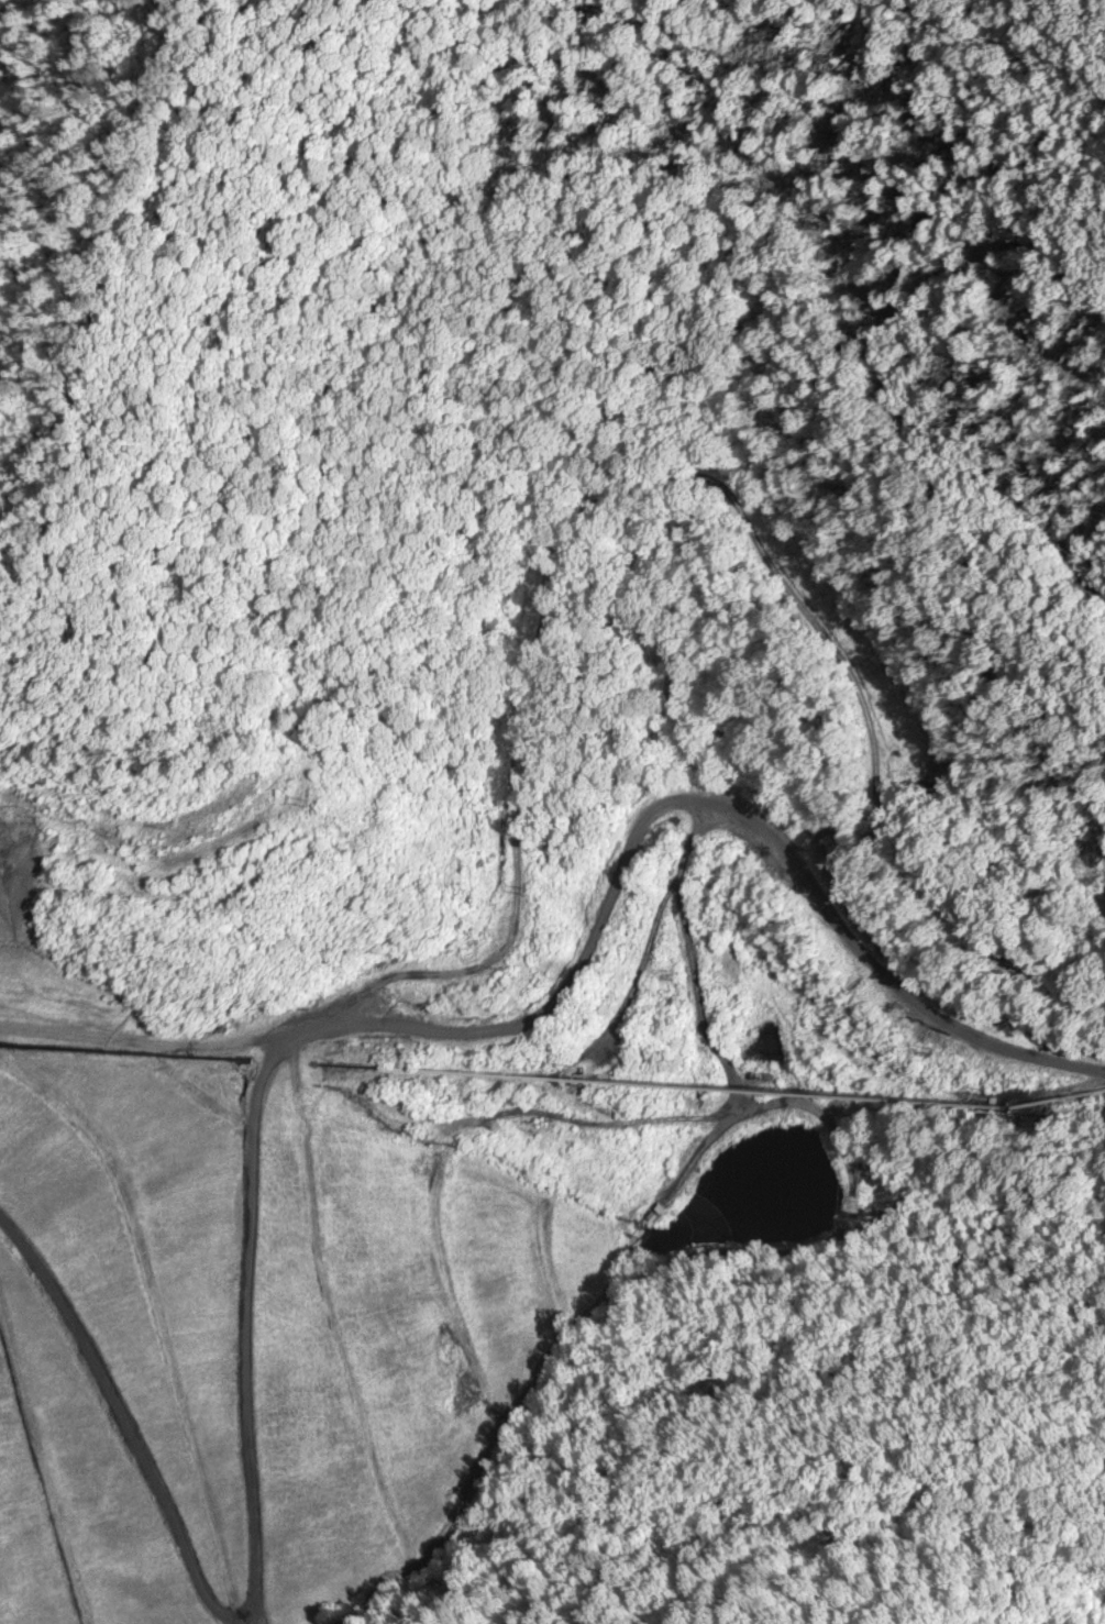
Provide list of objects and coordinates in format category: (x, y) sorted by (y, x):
quarry: (397, 1155)

